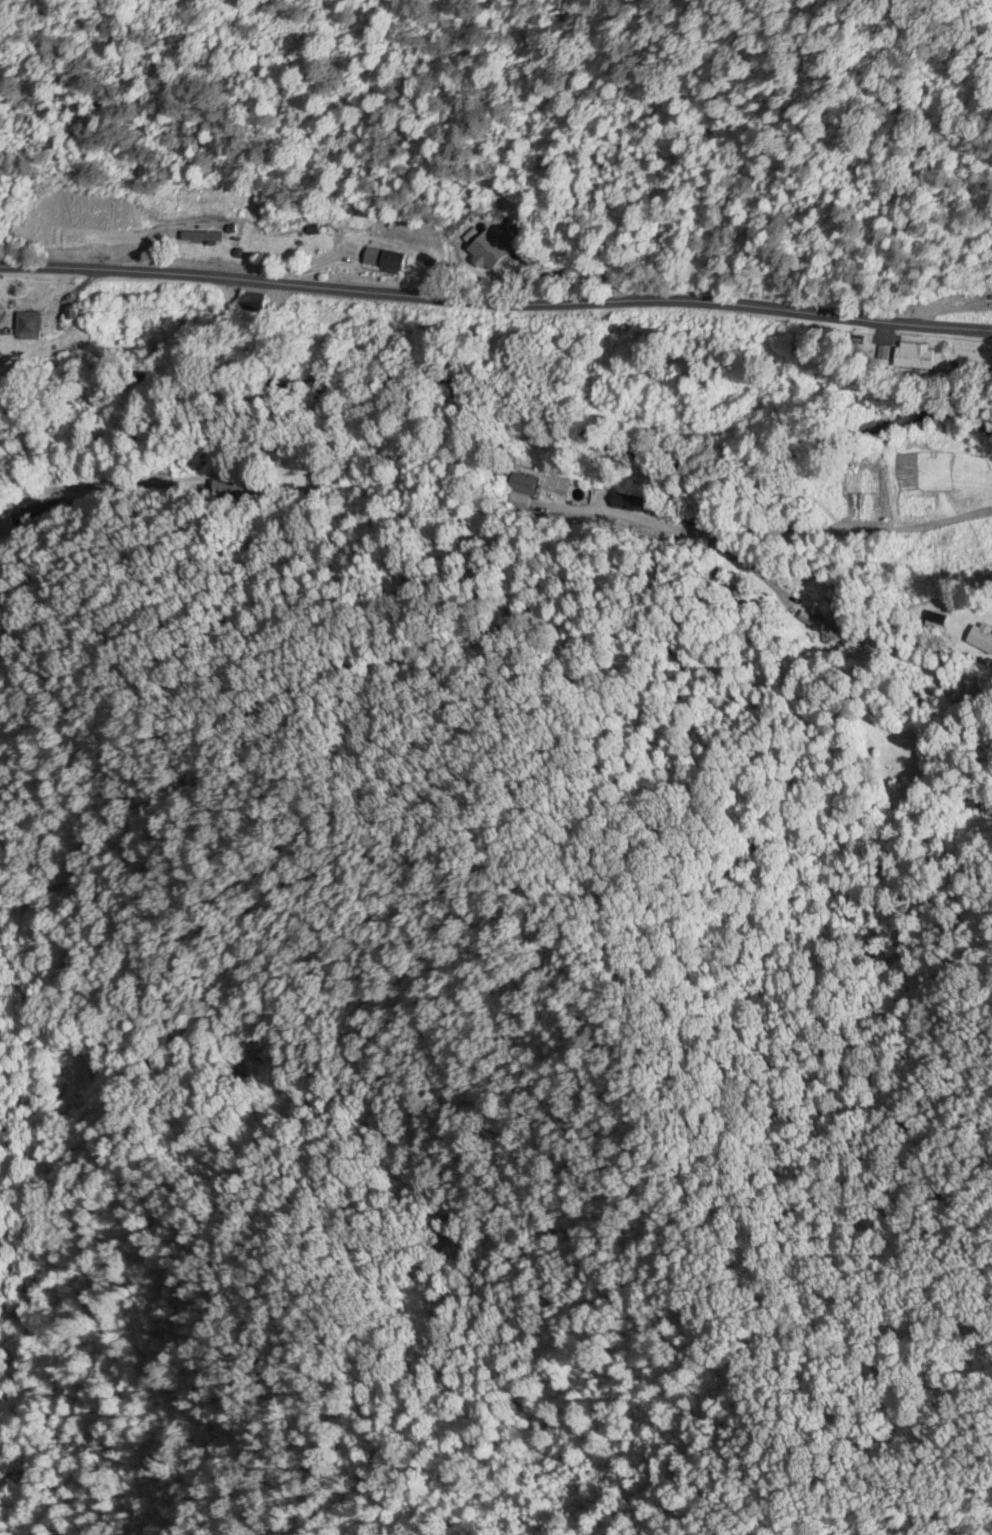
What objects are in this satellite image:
road: (495, 299)

